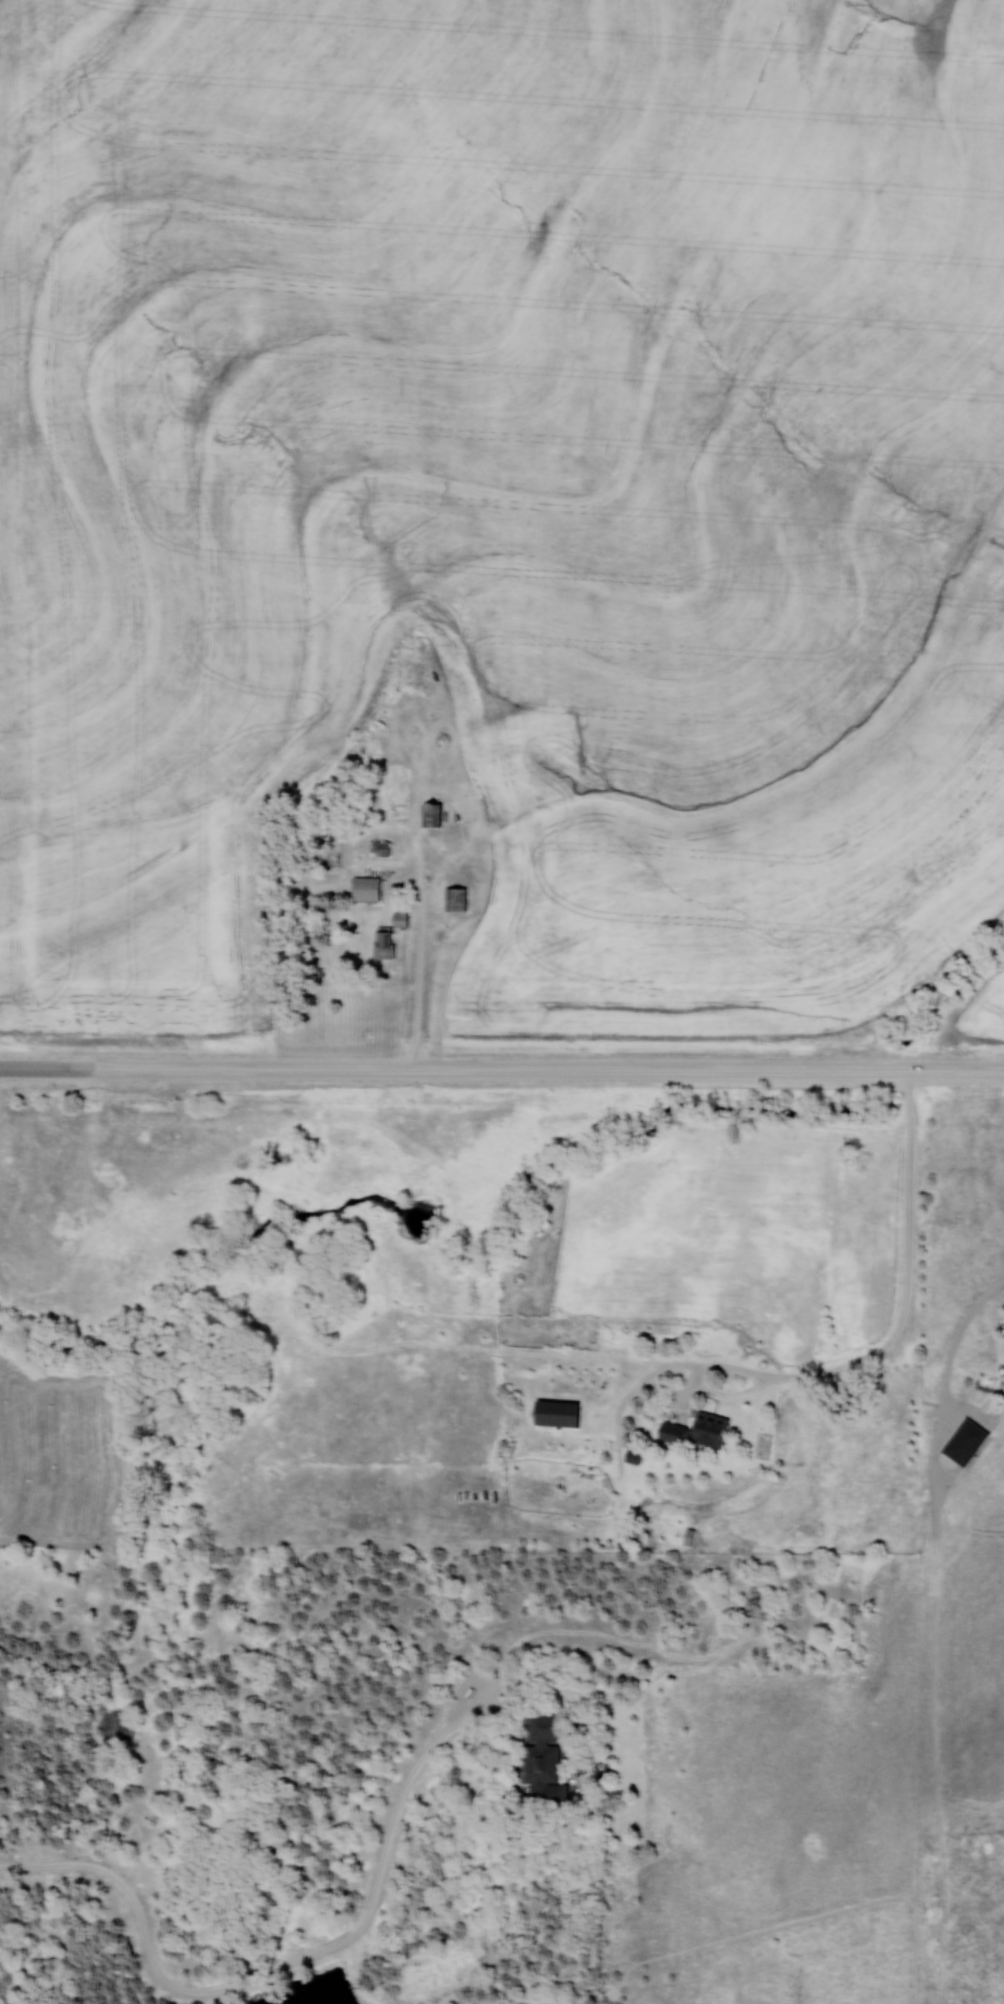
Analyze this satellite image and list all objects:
crop: (505, 490)
building: (429, 815)
building: (380, 849)
building: (364, 889)
building: (454, 900)
building: (386, 937)
road: (420, 970)
crop: (984, 1010)
road: (45, 1067)
road: (546, 1069)
road: (877, 1355)
building: (548, 1411)
building: (696, 1430)
building: (545, 1756)
road: (275, 1969)

